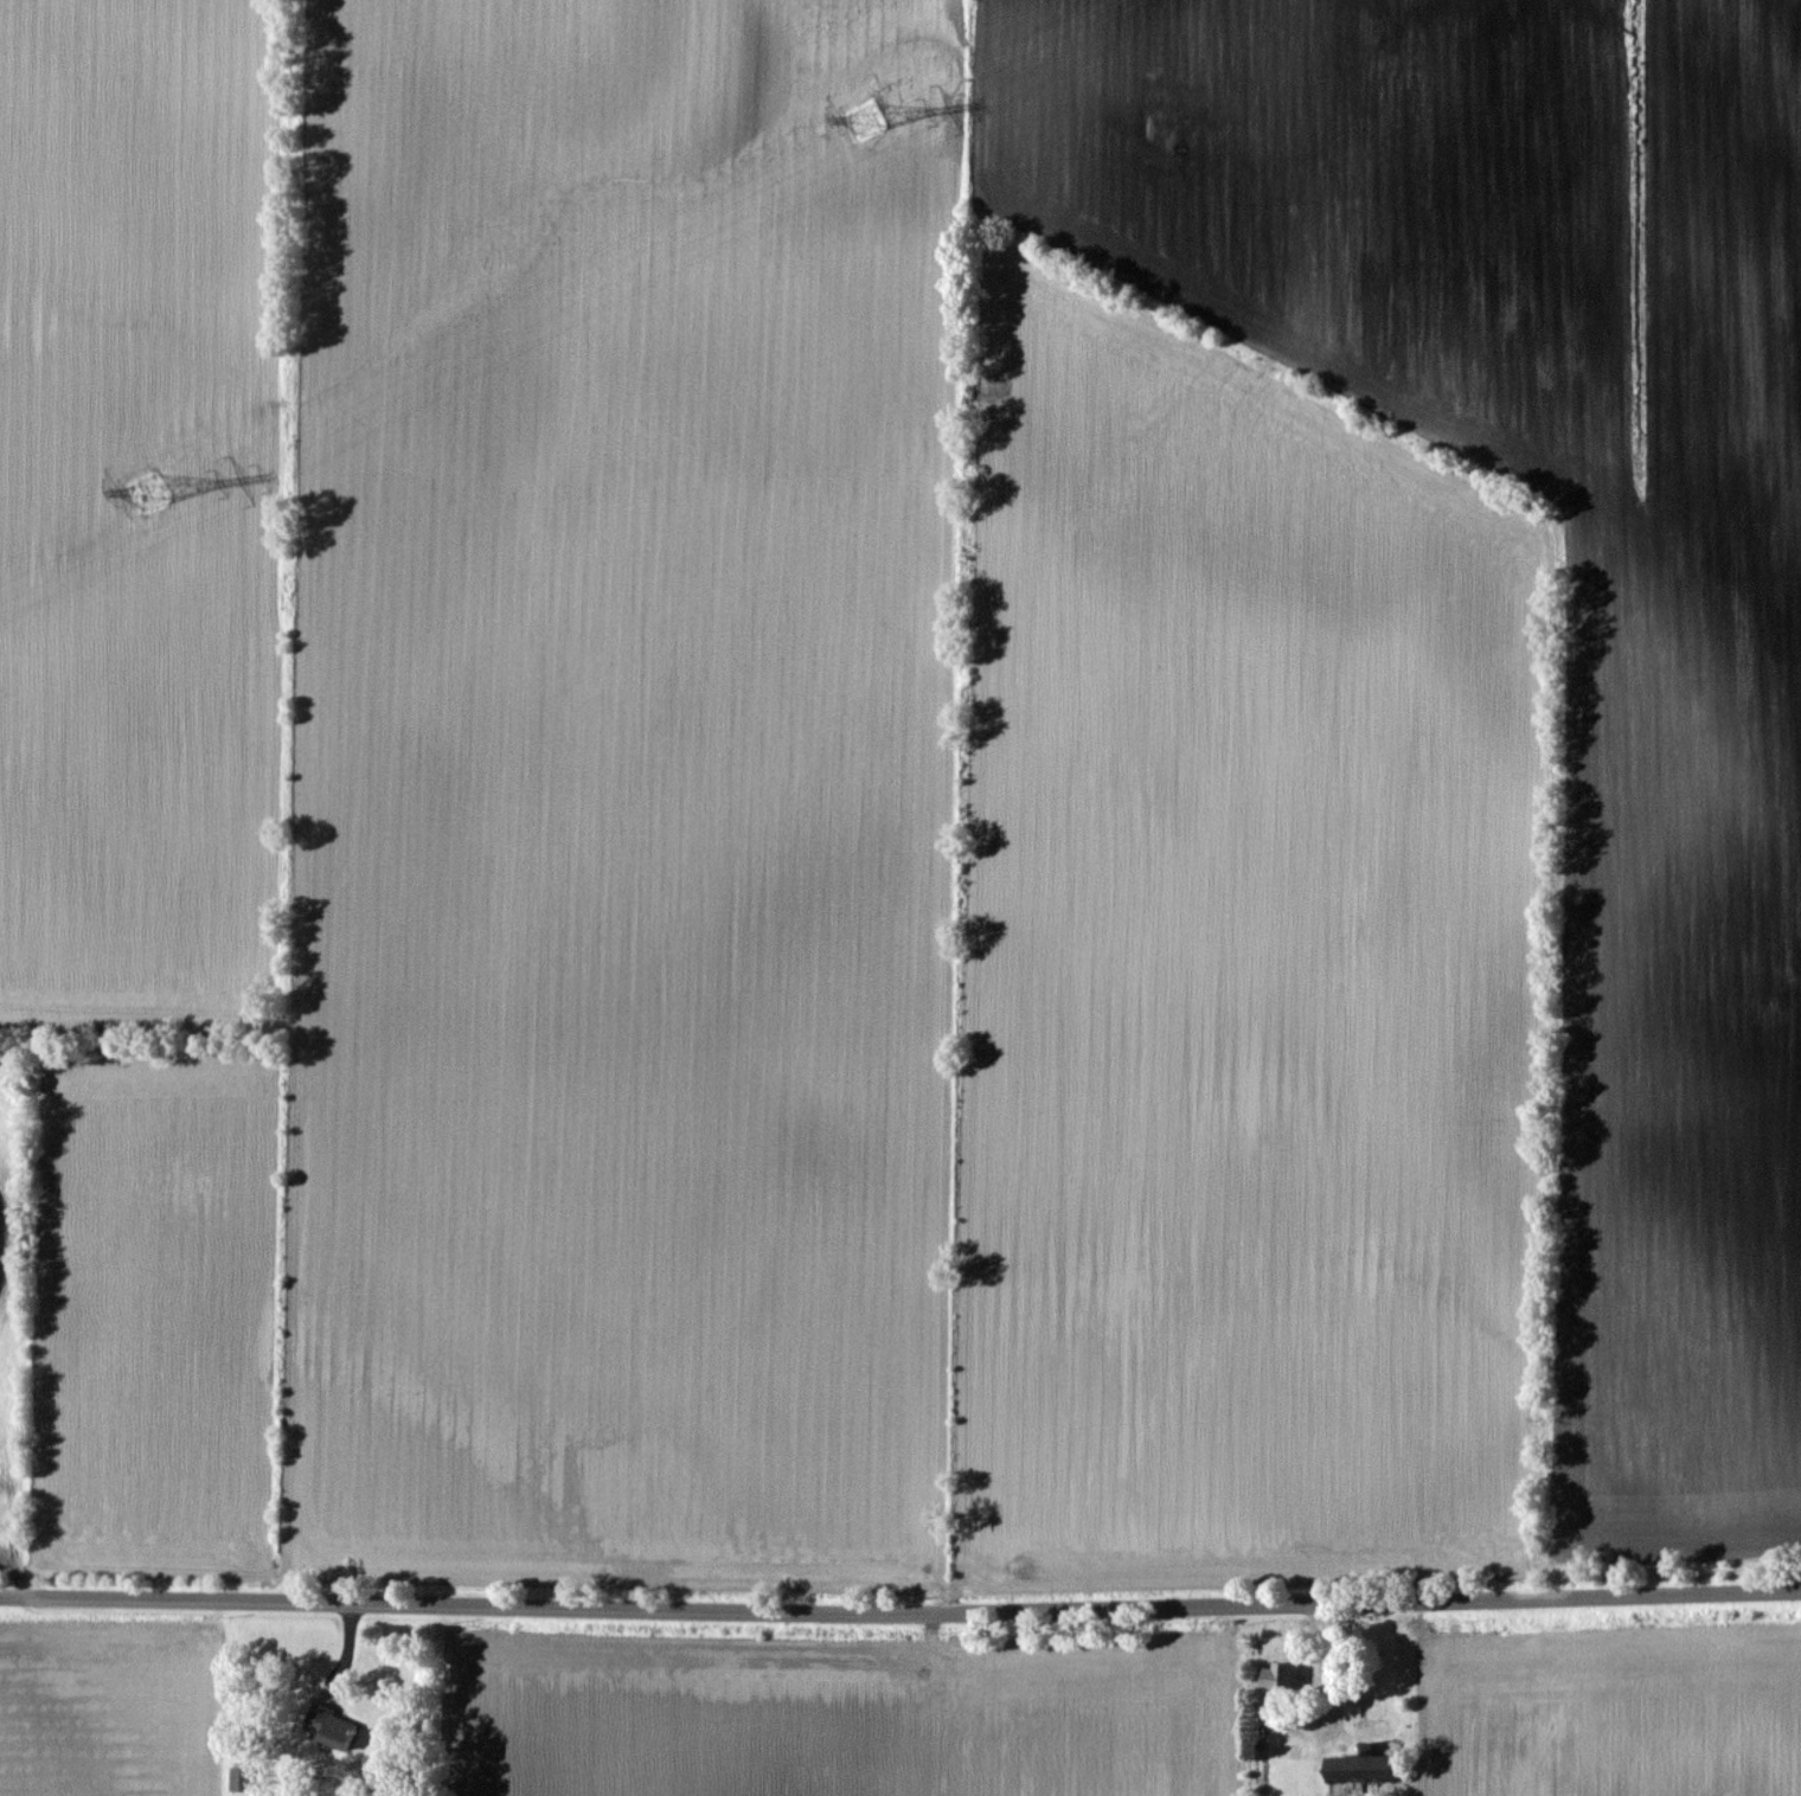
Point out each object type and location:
power tower: (867, 118)
power tower: (149, 492)
crop: (146, 768)
crop: (1041, 793)
road: (901, 1609)
building: (1282, 1678)
crop: (105, 1705)
crop: (1610, 1712)
crop: (844, 1717)
building: (331, 1727)
building: (1365, 1773)

